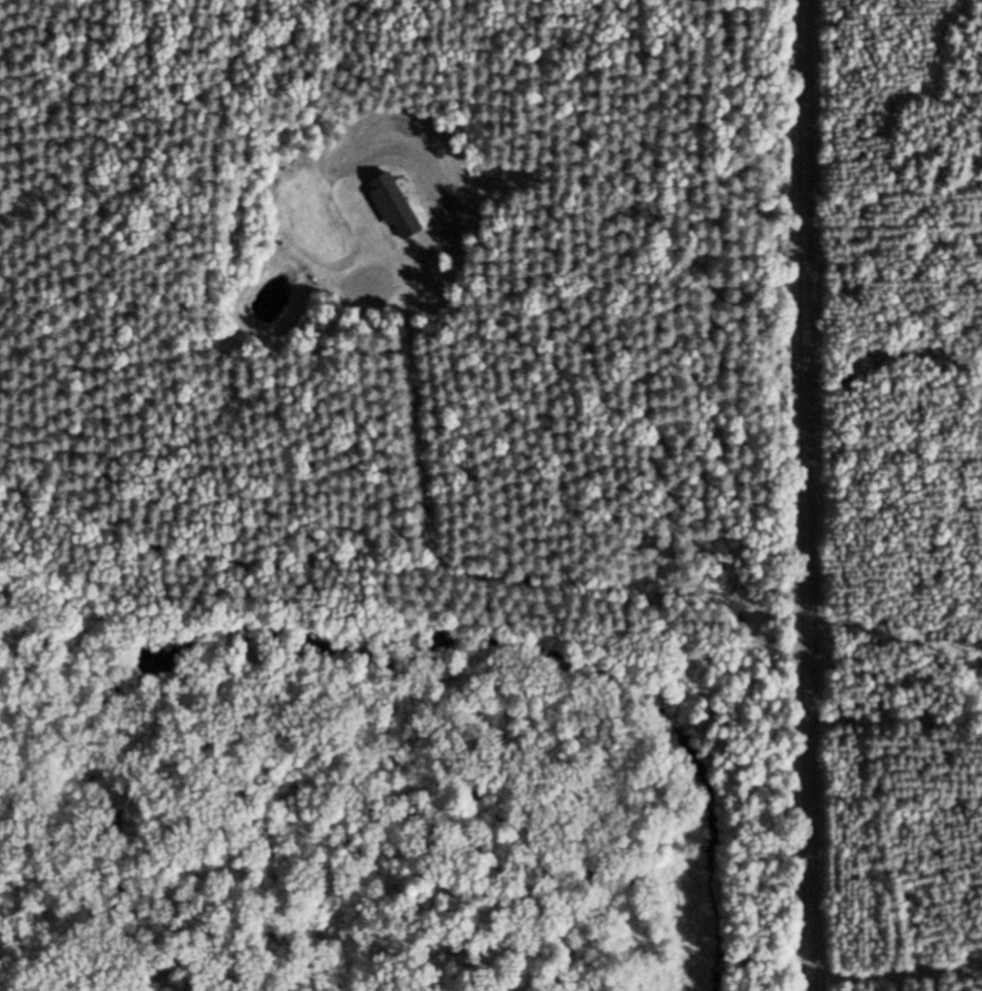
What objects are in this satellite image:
building: (396, 204)
road: (809, 495)

